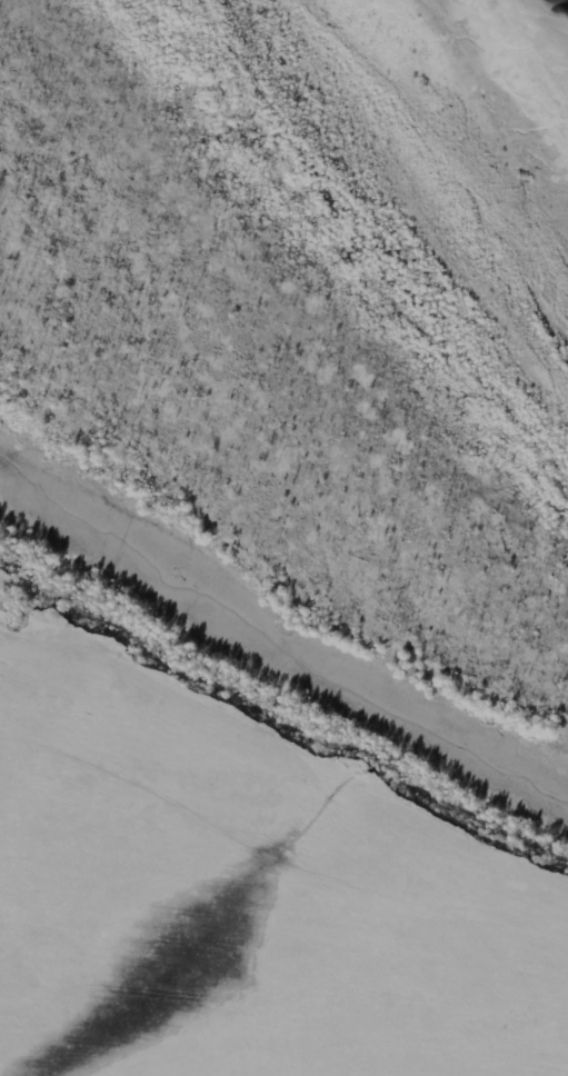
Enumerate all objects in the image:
river: (283, 382)

